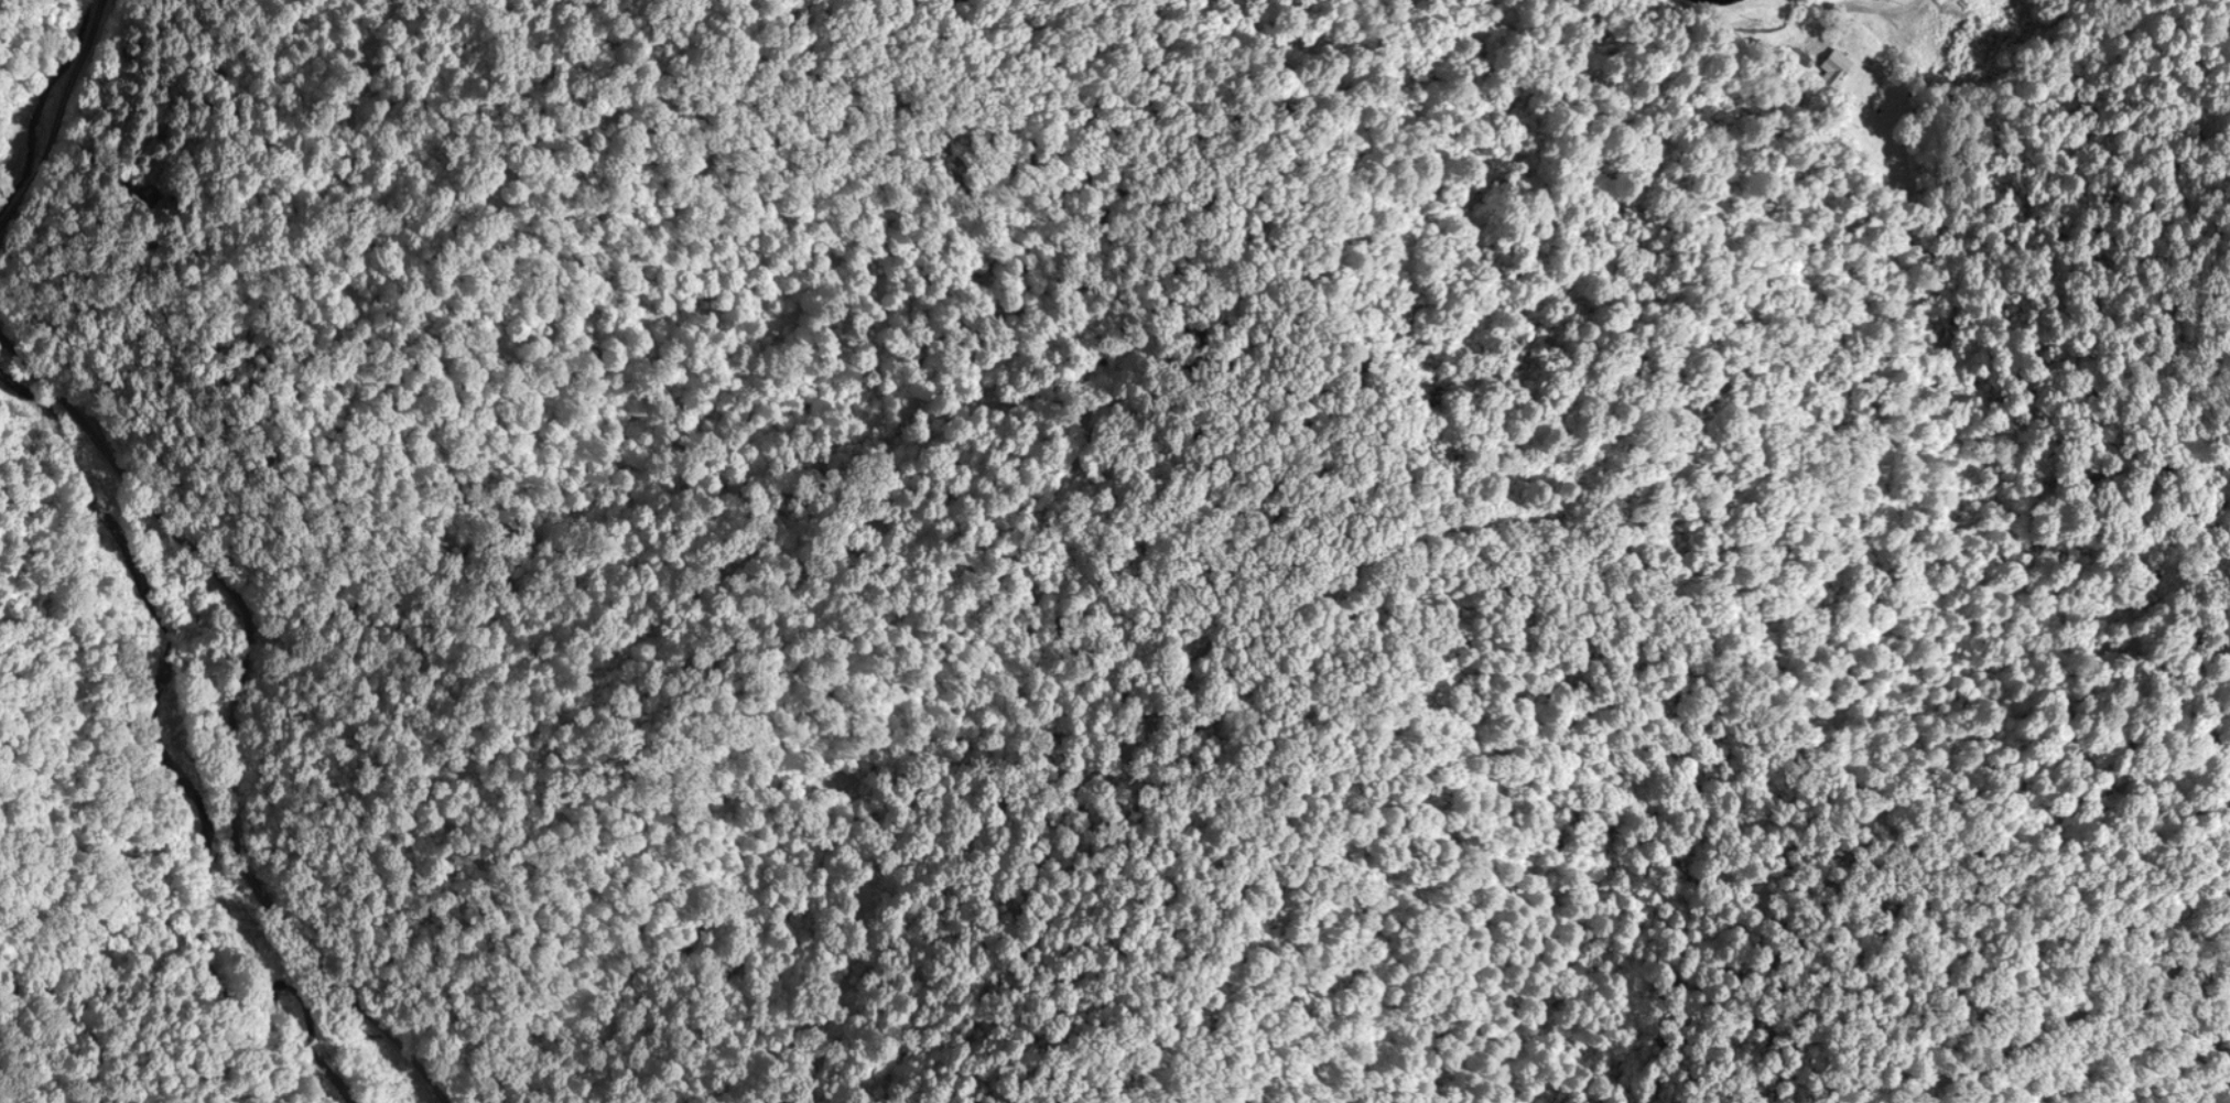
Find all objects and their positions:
road: (1914, 13)
building: (1834, 65)
road: (54, 107)
road: (240, 709)

